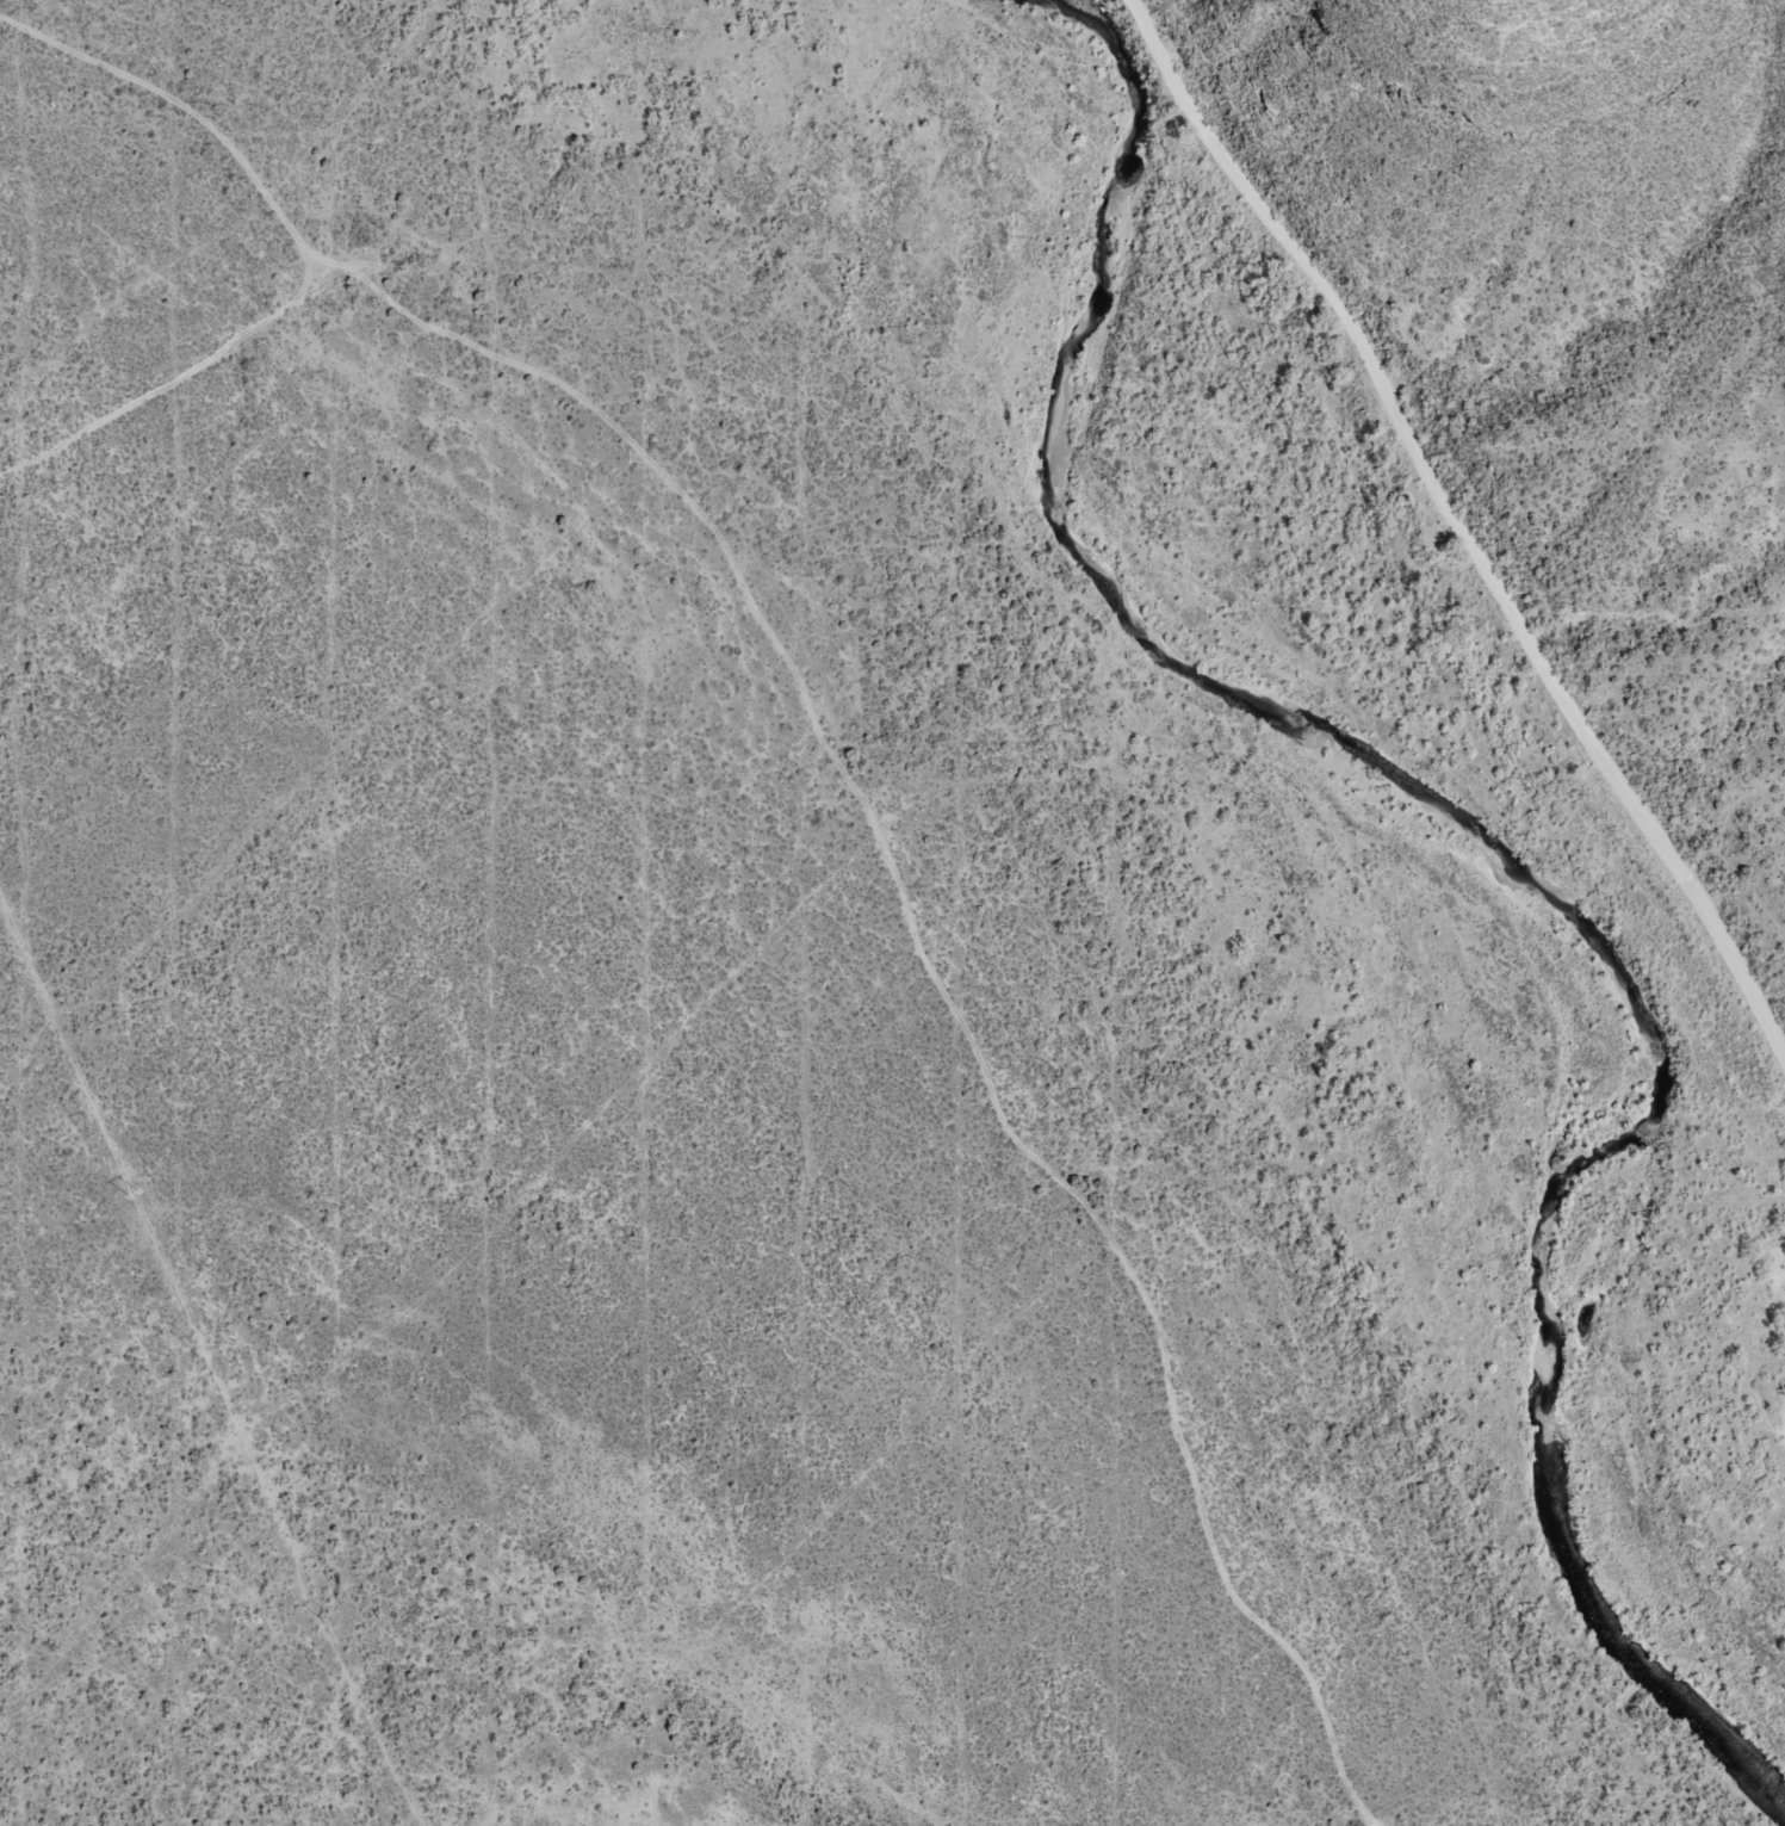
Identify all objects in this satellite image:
road: (1459, 546)
river: (1469, 866)
power tower: (134, 1194)
power tower: (324, 1615)

